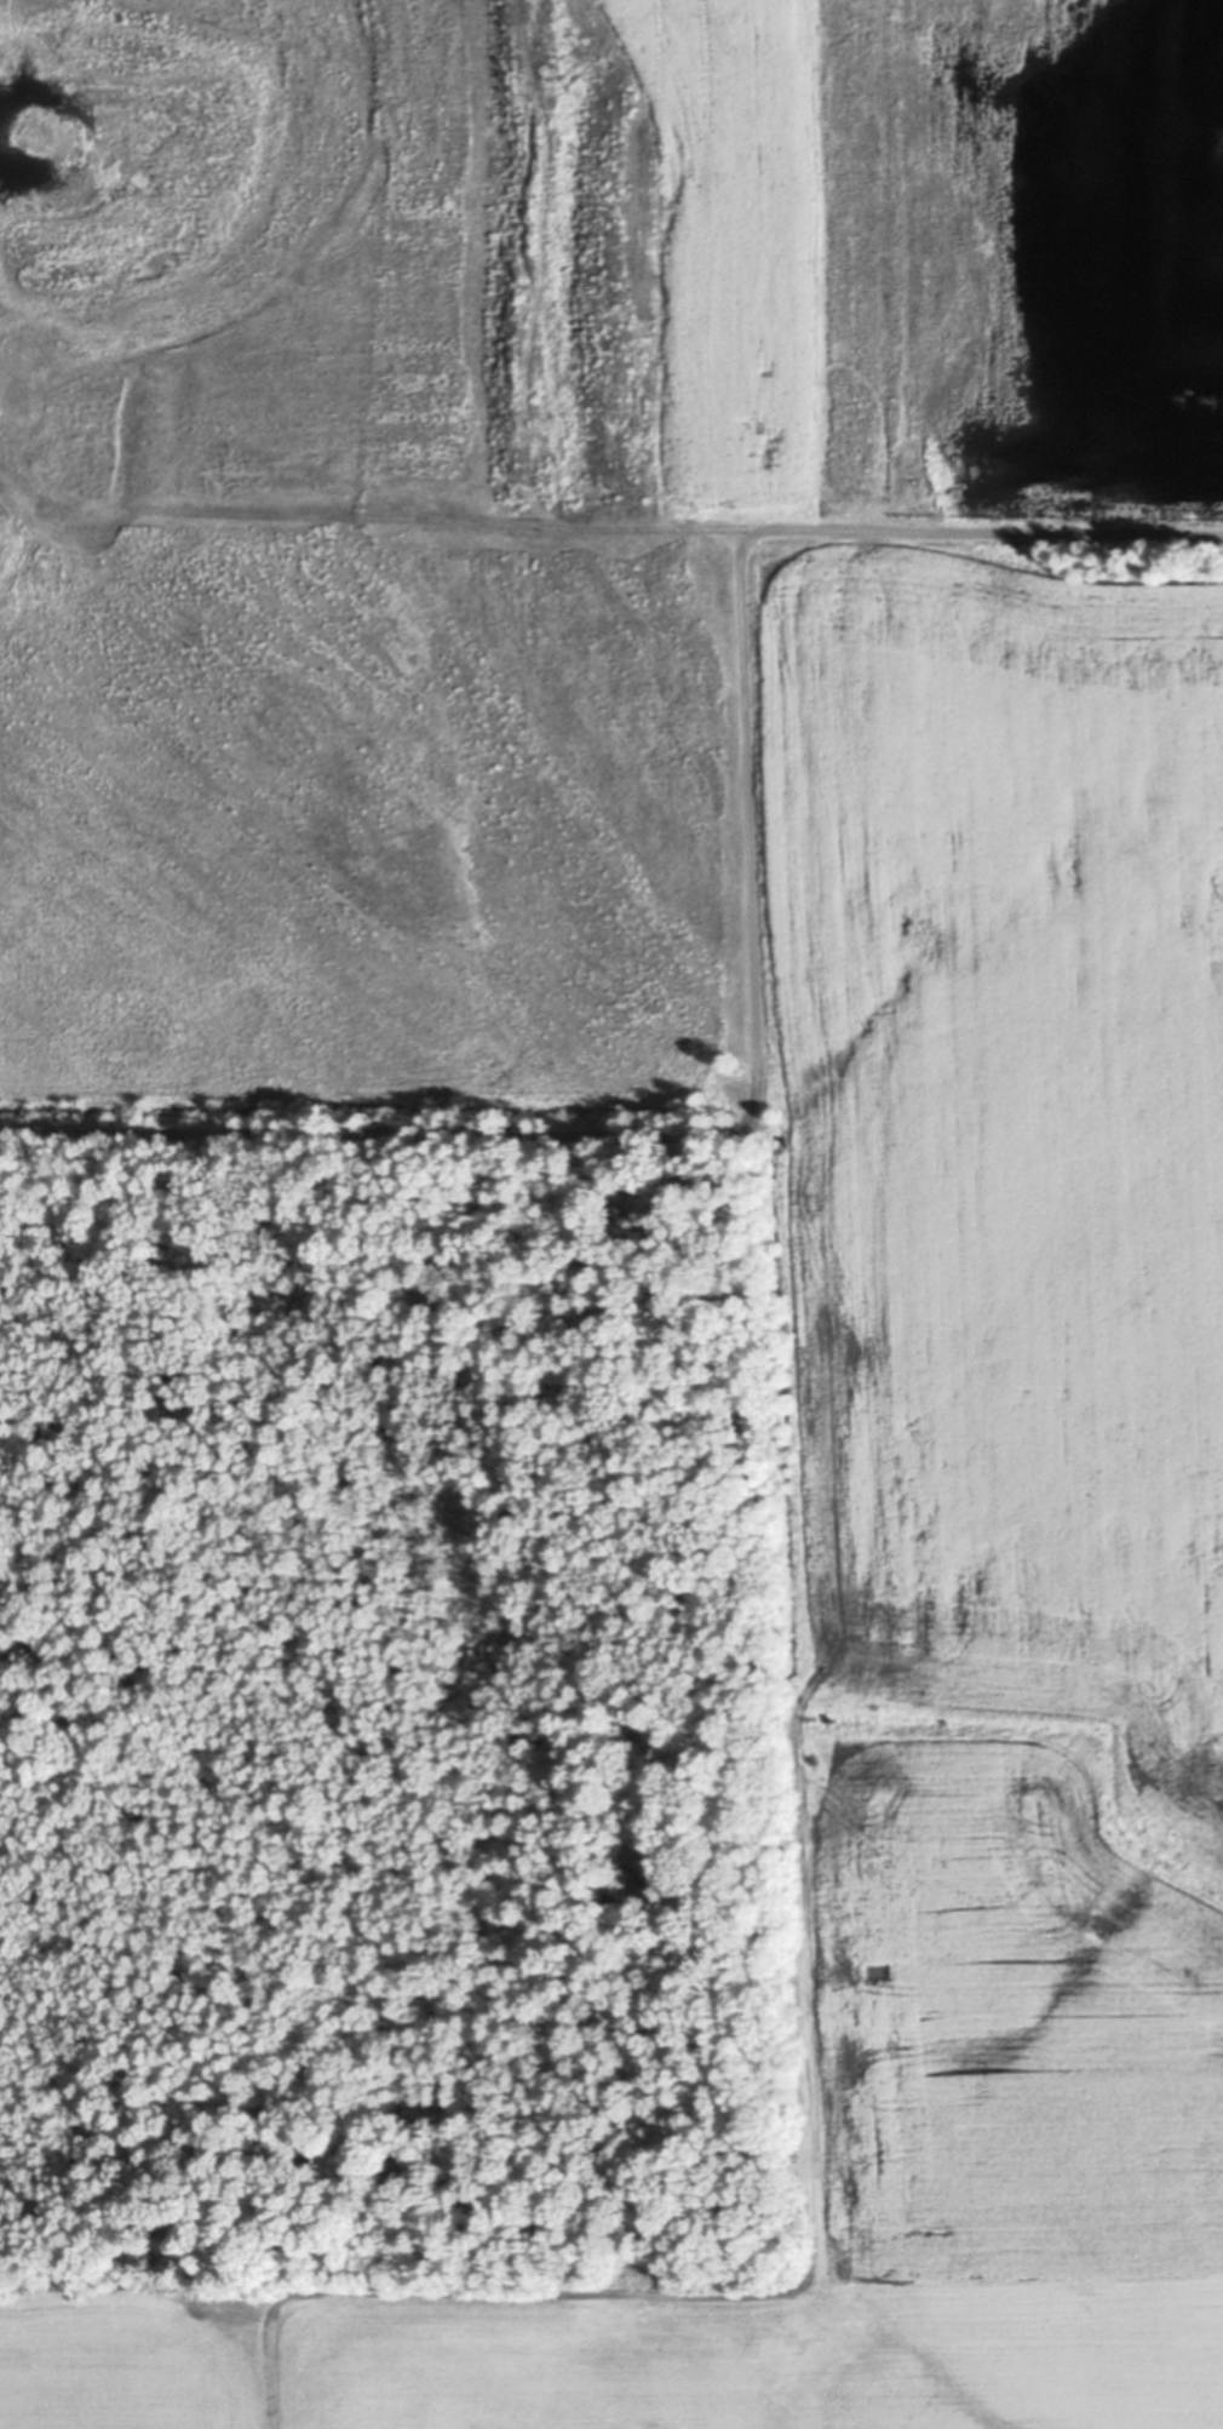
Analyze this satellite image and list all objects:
road: (371, 515)
road: (983, 529)
road: (672, 1132)
road: (806, 2033)

